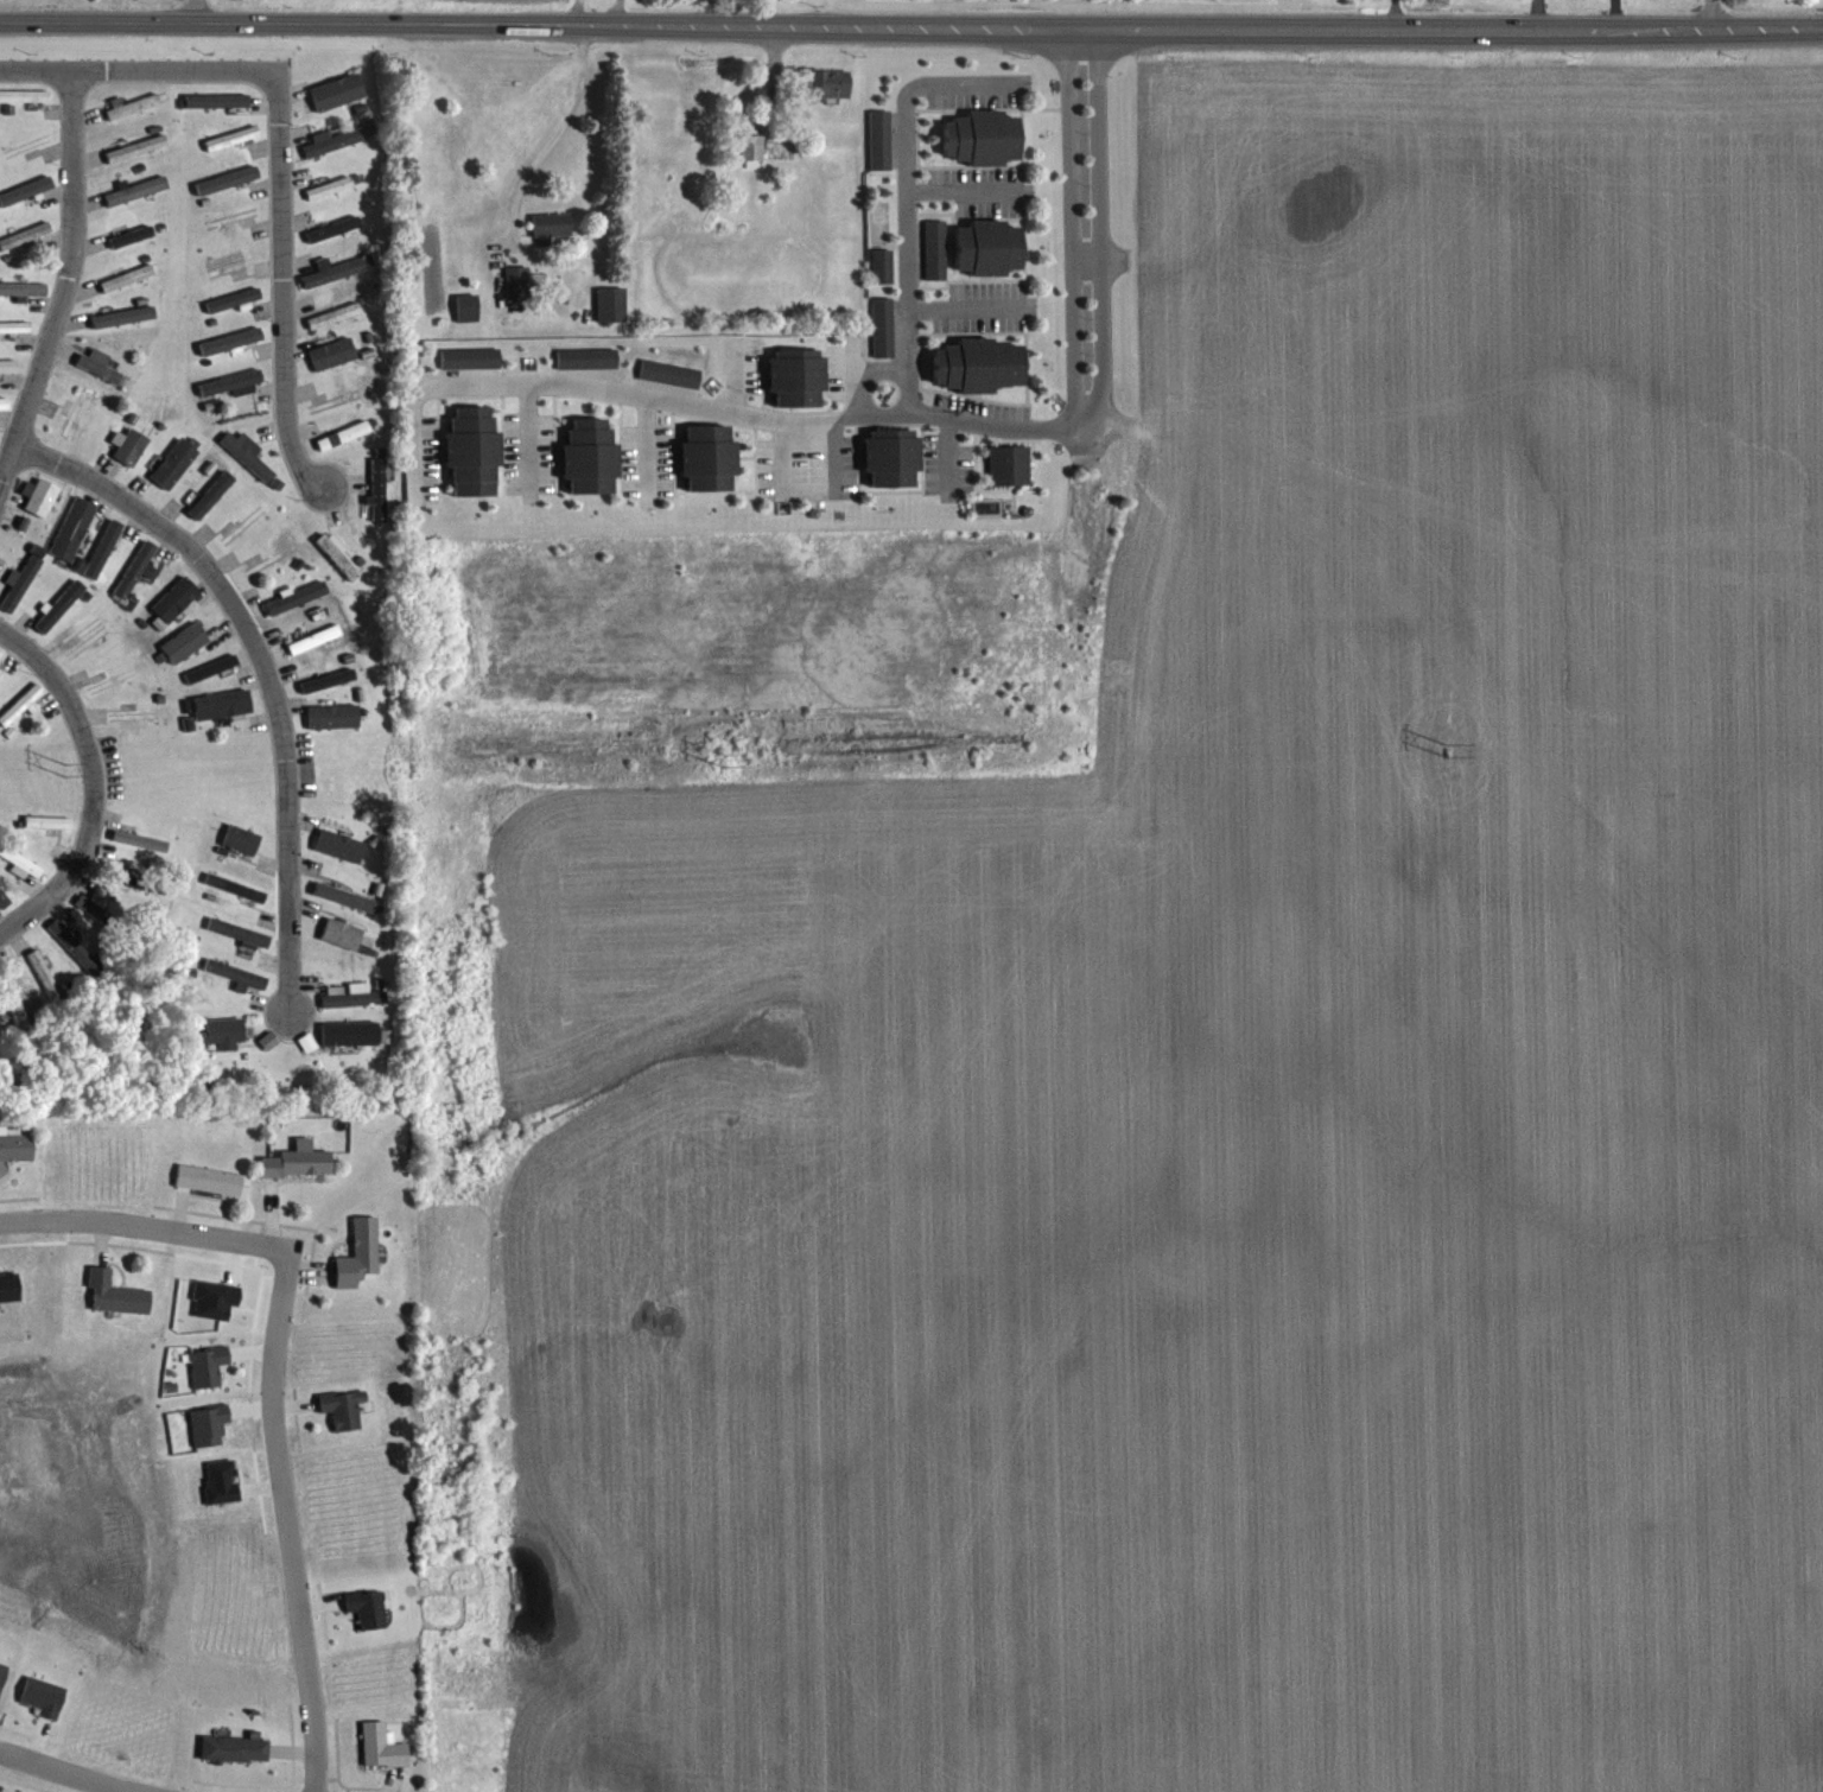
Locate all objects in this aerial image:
road: (1709, 13)
road: (911, 25)
building: (831, 84)
building: (336, 93)
building: (25, 95)
building: (216, 100)
building: (132, 106)
road: (569, 127)
building: (879, 139)
building: (983, 139)
building: (335, 140)
road: (280, 146)
building: (135, 147)
building: (751, 147)
building: (227, 179)
road: (961, 182)
road: (908, 189)
building: (25, 190)
building: (135, 190)
building: (551, 224)
building: (334, 229)
building: (136, 233)
building: (25, 234)
building: (990, 248)
building: (934, 249)
building: (227, 263)
building: (882, 265)
building: (332, 272)
building: (127, 277)
building: (516, 282)
building: (23, 287)
road: (64, 288)
road: (967, 296)
building: (610, 305)
building: (466, 309)
building: (883, 328)
building: (331, 354)
building: (470, 358)
building: (586, 358)
building: (7, 364)
building: (99, 366)
building: (978, 366)
building: (668, 373)
building: (798, 381)
building: (80, 406)
road: (885, 406)
road: (531, 430)
building: (343, 436)
road: (646, 437)
building: (129, 446)
building: (475, 449)
building: (247, 455)
building: (592, 455)
building: (710, 457)
building: (894, 457)
building: (174, 462)
building: (1009, 464)
building: (376, 489)
building: (210, 495)
building: (42, 496)
building: (244, 523)
building: (72, 528)
building: (337, 555)
building: (136, 568)
building: (20, 582)
building: (296, 596)
building: (174, 599)
building: (58, 606)
road: (265, 672)
road: (63, 692)
building: (21, 704)
building: (222, 704)
building: (139, 716)
building: (332, 716)
building: (47, 821)
building: (240, 839)
building: (140, 840)
building: (339, 845)
road: (75, 871)
building: (145, 884)
building: (2, 900)
building: (96, 910)
building: (237, 932)
building: (342, 933)
building: (72, 945)
building: (43, 976)
building: (351, 995)
building: (13, 1002)
building: (226, 1030)
building: (349, 1034)
building: (15, 1145)
building: (298, 1161)
building: (209, 1180)
building: (358, 1254)
building: (115, 1295)
building: (207, 1366)
road: (275, 1377)
building: (342, 1409)
building: (208, 1425)
building: (367, 1608)
building: (381, 1746)
building: (234, 1748)
road: (68, 1772)

